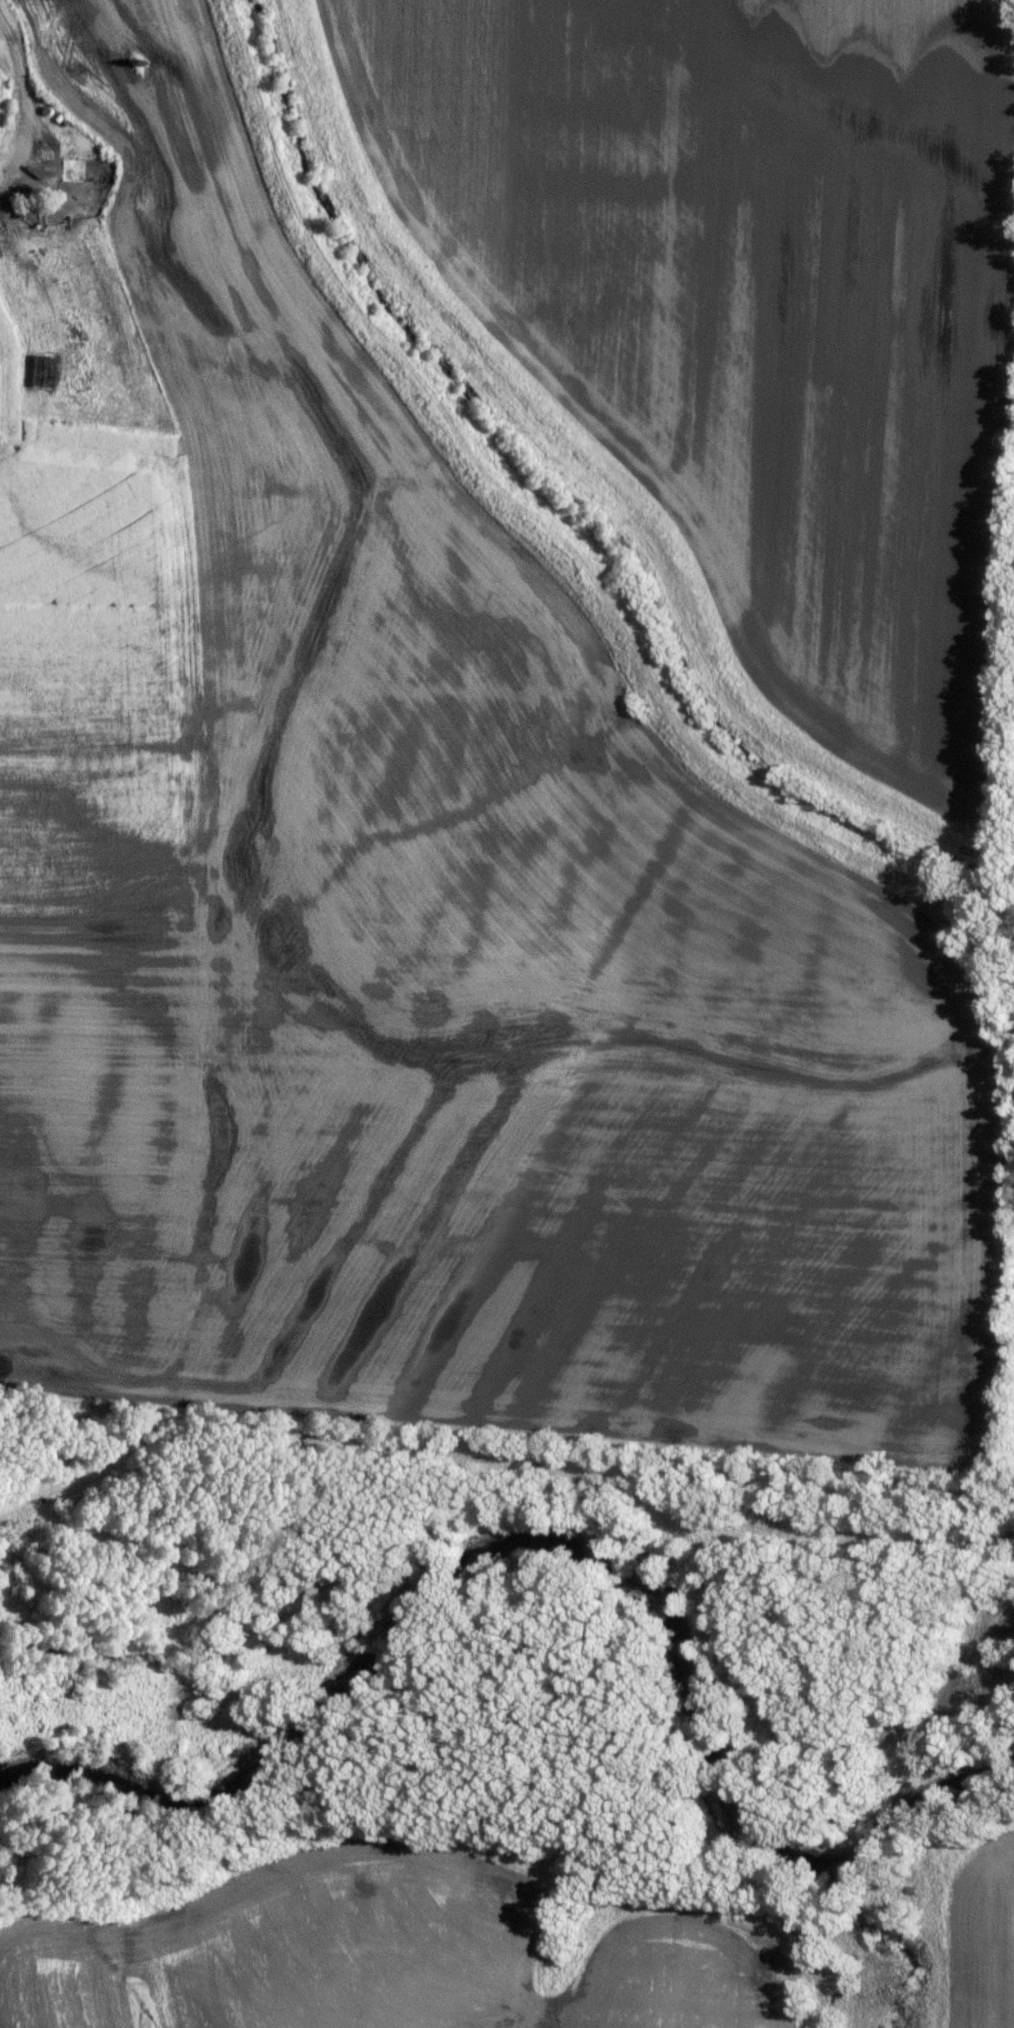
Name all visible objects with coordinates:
building: (74, 170)
building: (40, 372)

